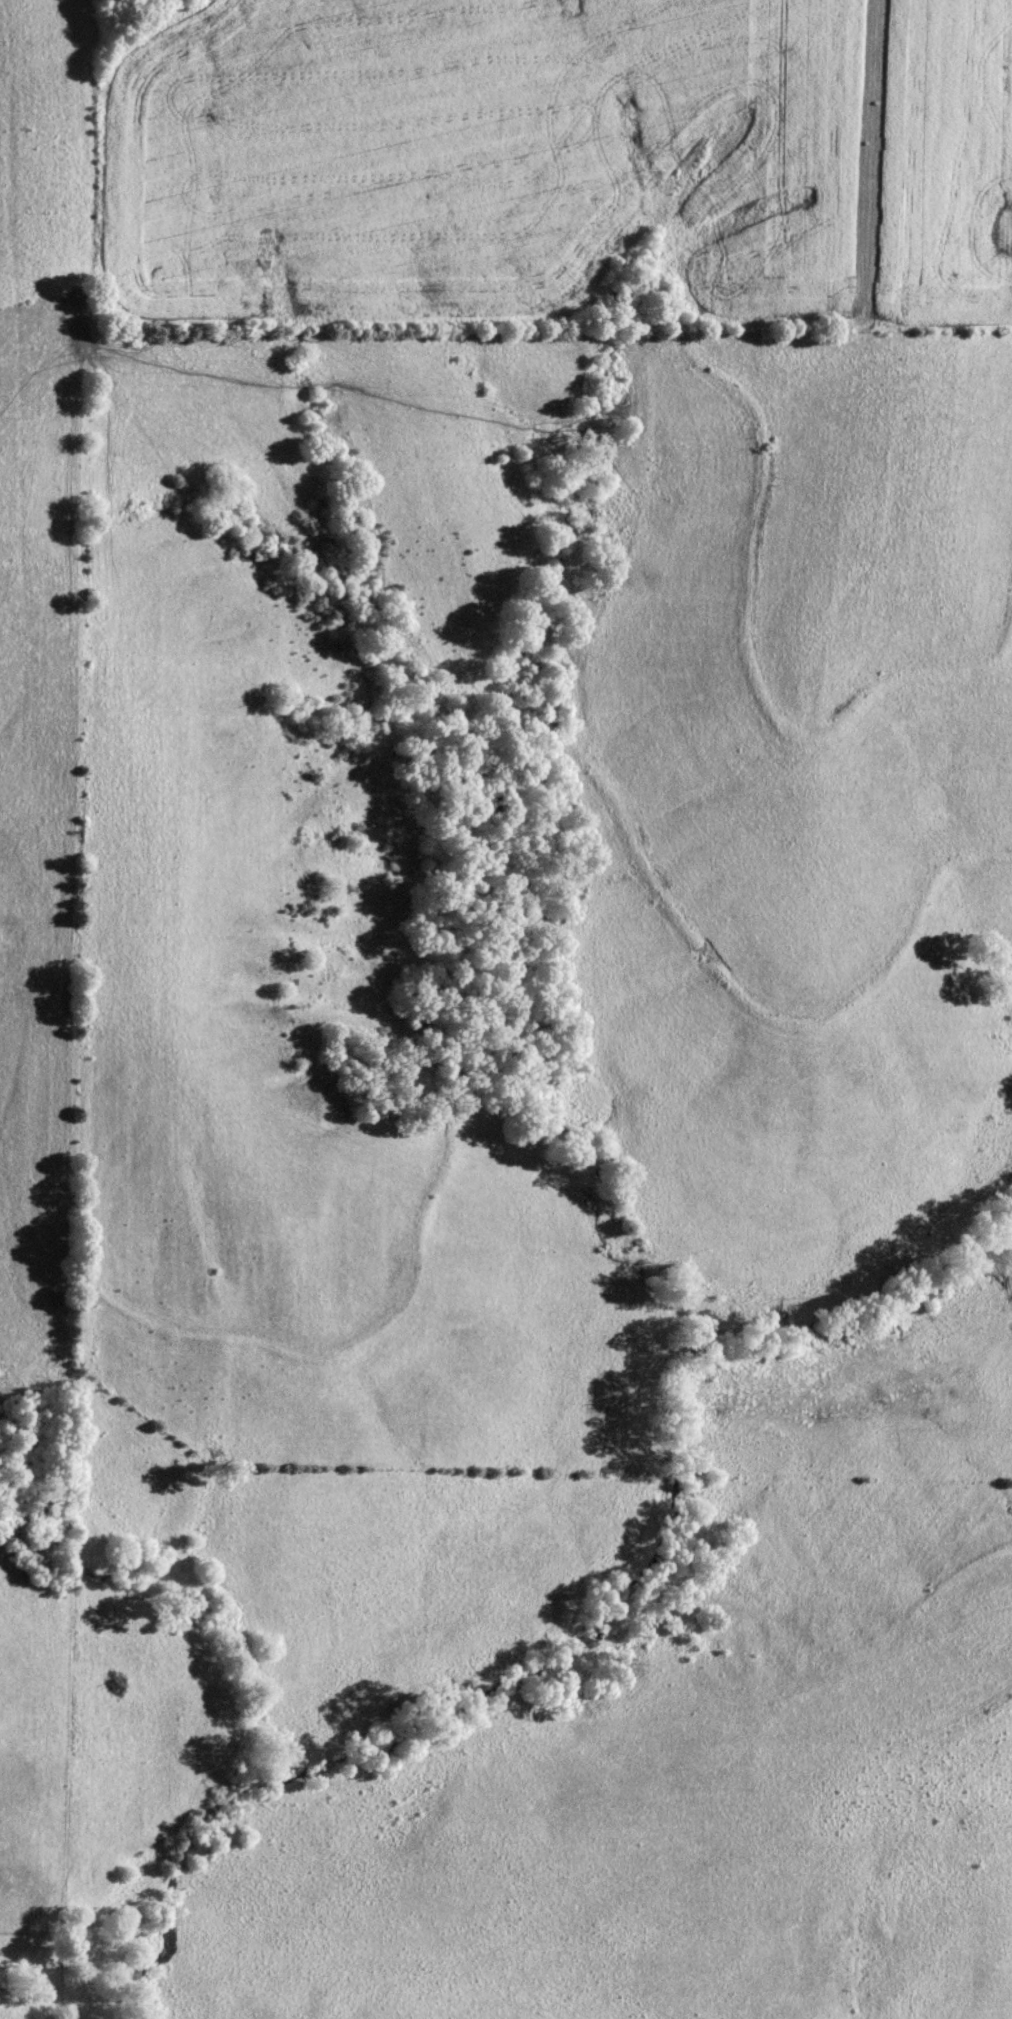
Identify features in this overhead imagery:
road: (862, 159)
road: (462, 1471)

